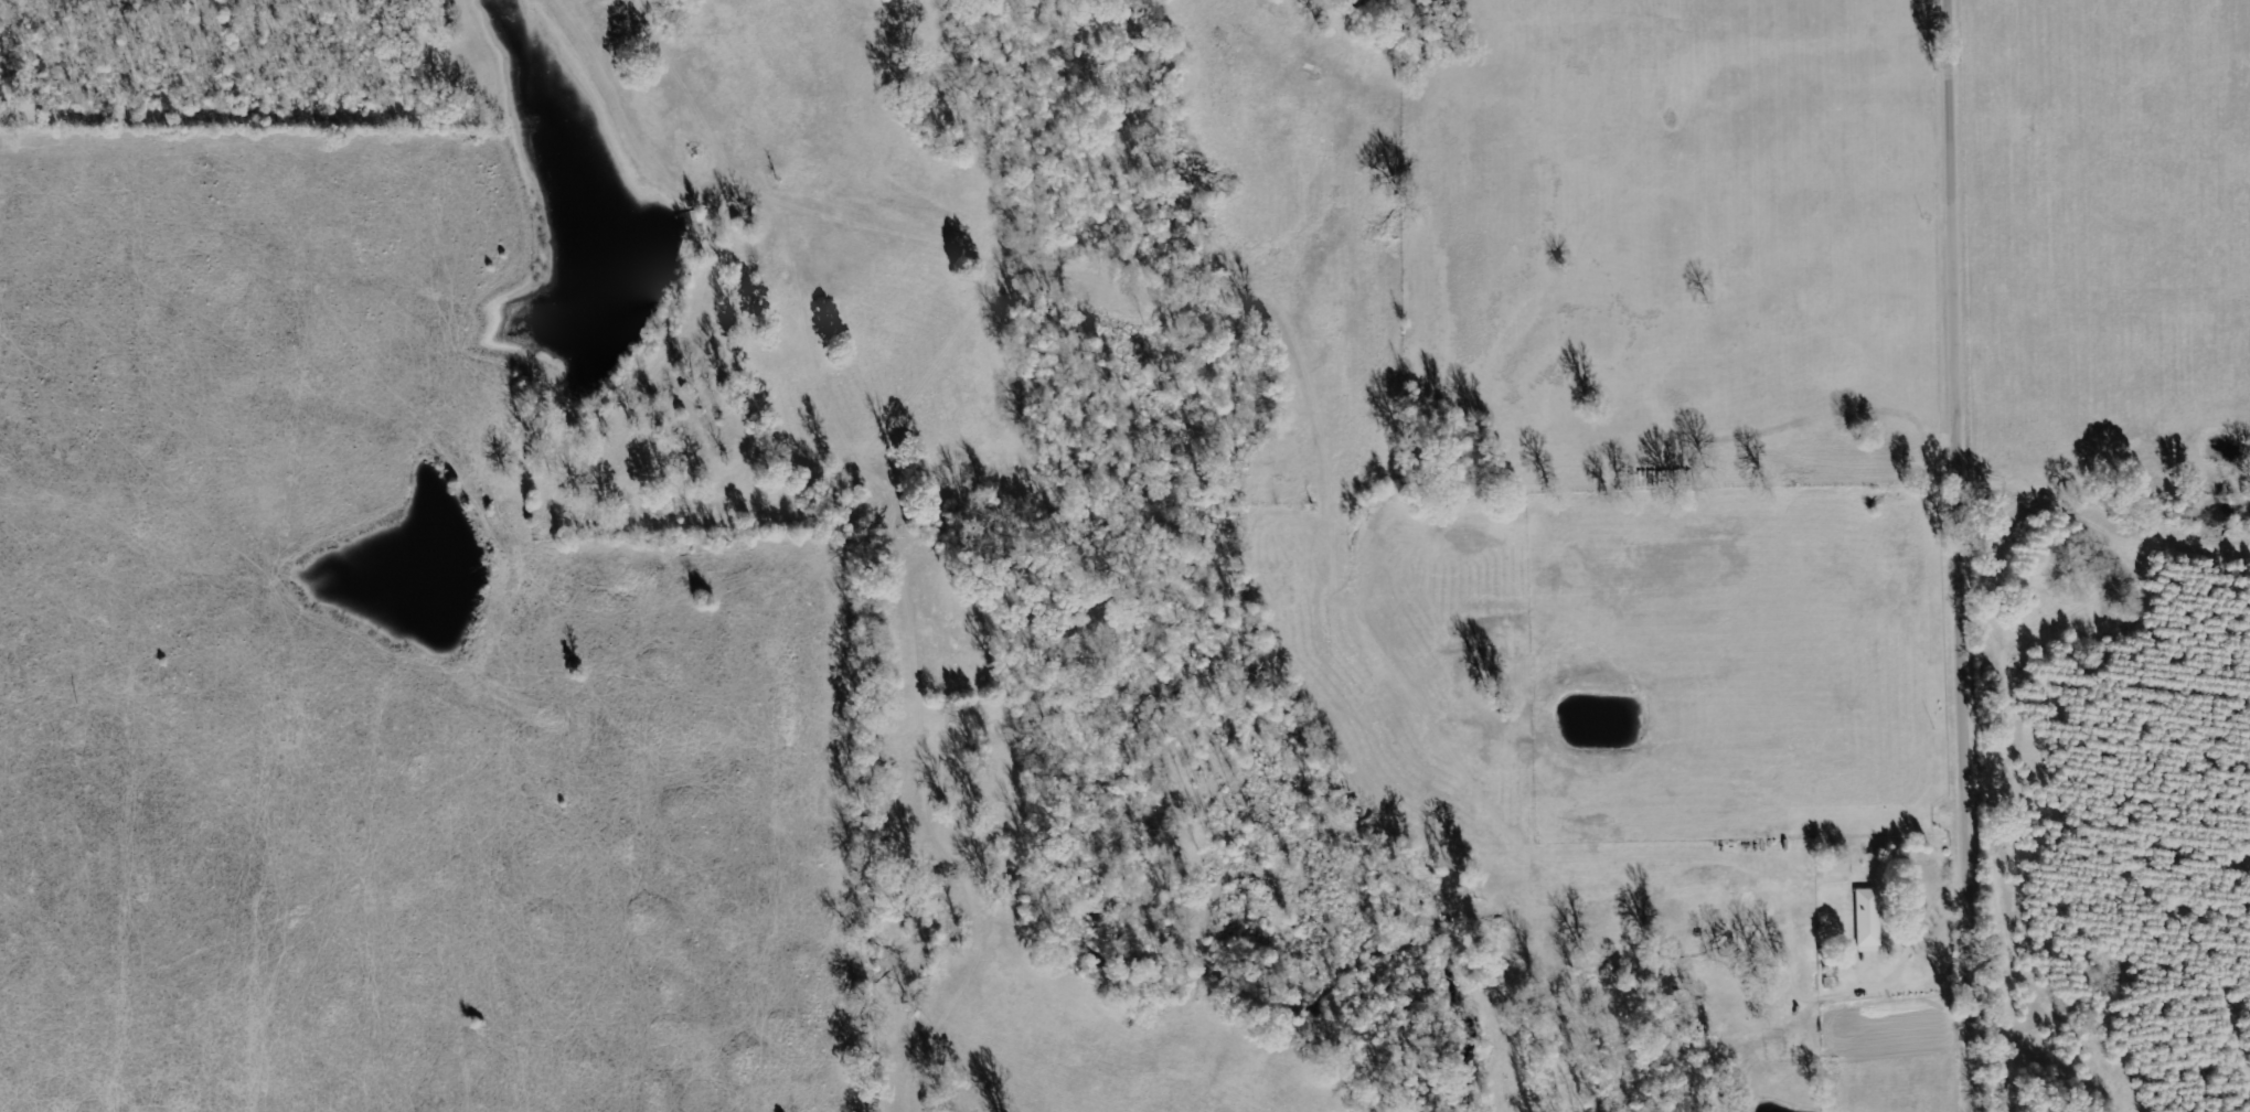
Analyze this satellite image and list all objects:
road: (1968, 556)
building: (1865, 918)

